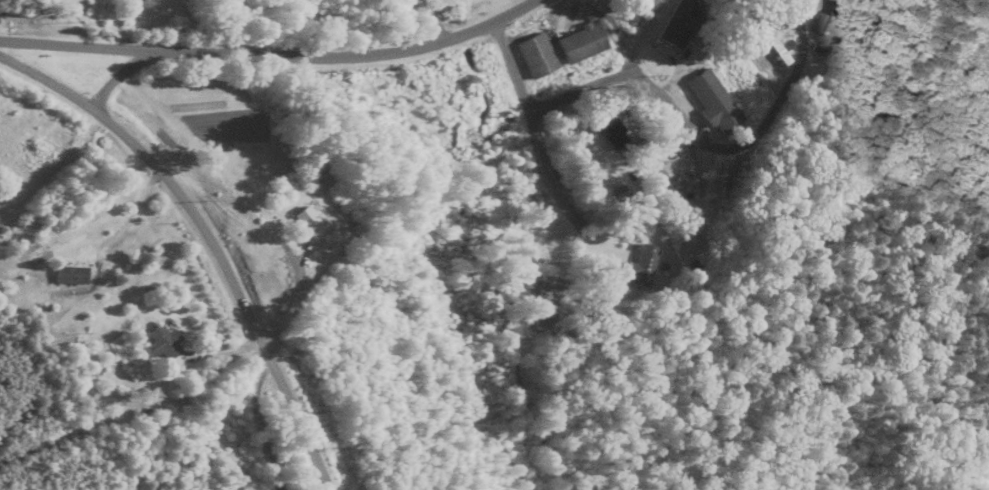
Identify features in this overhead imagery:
building: (827, 15)
road: (427, 22)
building: (681, 24)
building: (582, 43)
road: (75, 45)
road: (307, 56)
building: (537, 56)
building: (713, 101)
road: (673, 104)
road: (544, 169)
road: (133, 202)
building: (308, 222)
road: (210, 236)
building: (641, 266)
building: (71, 276)
building: (163, 343)

